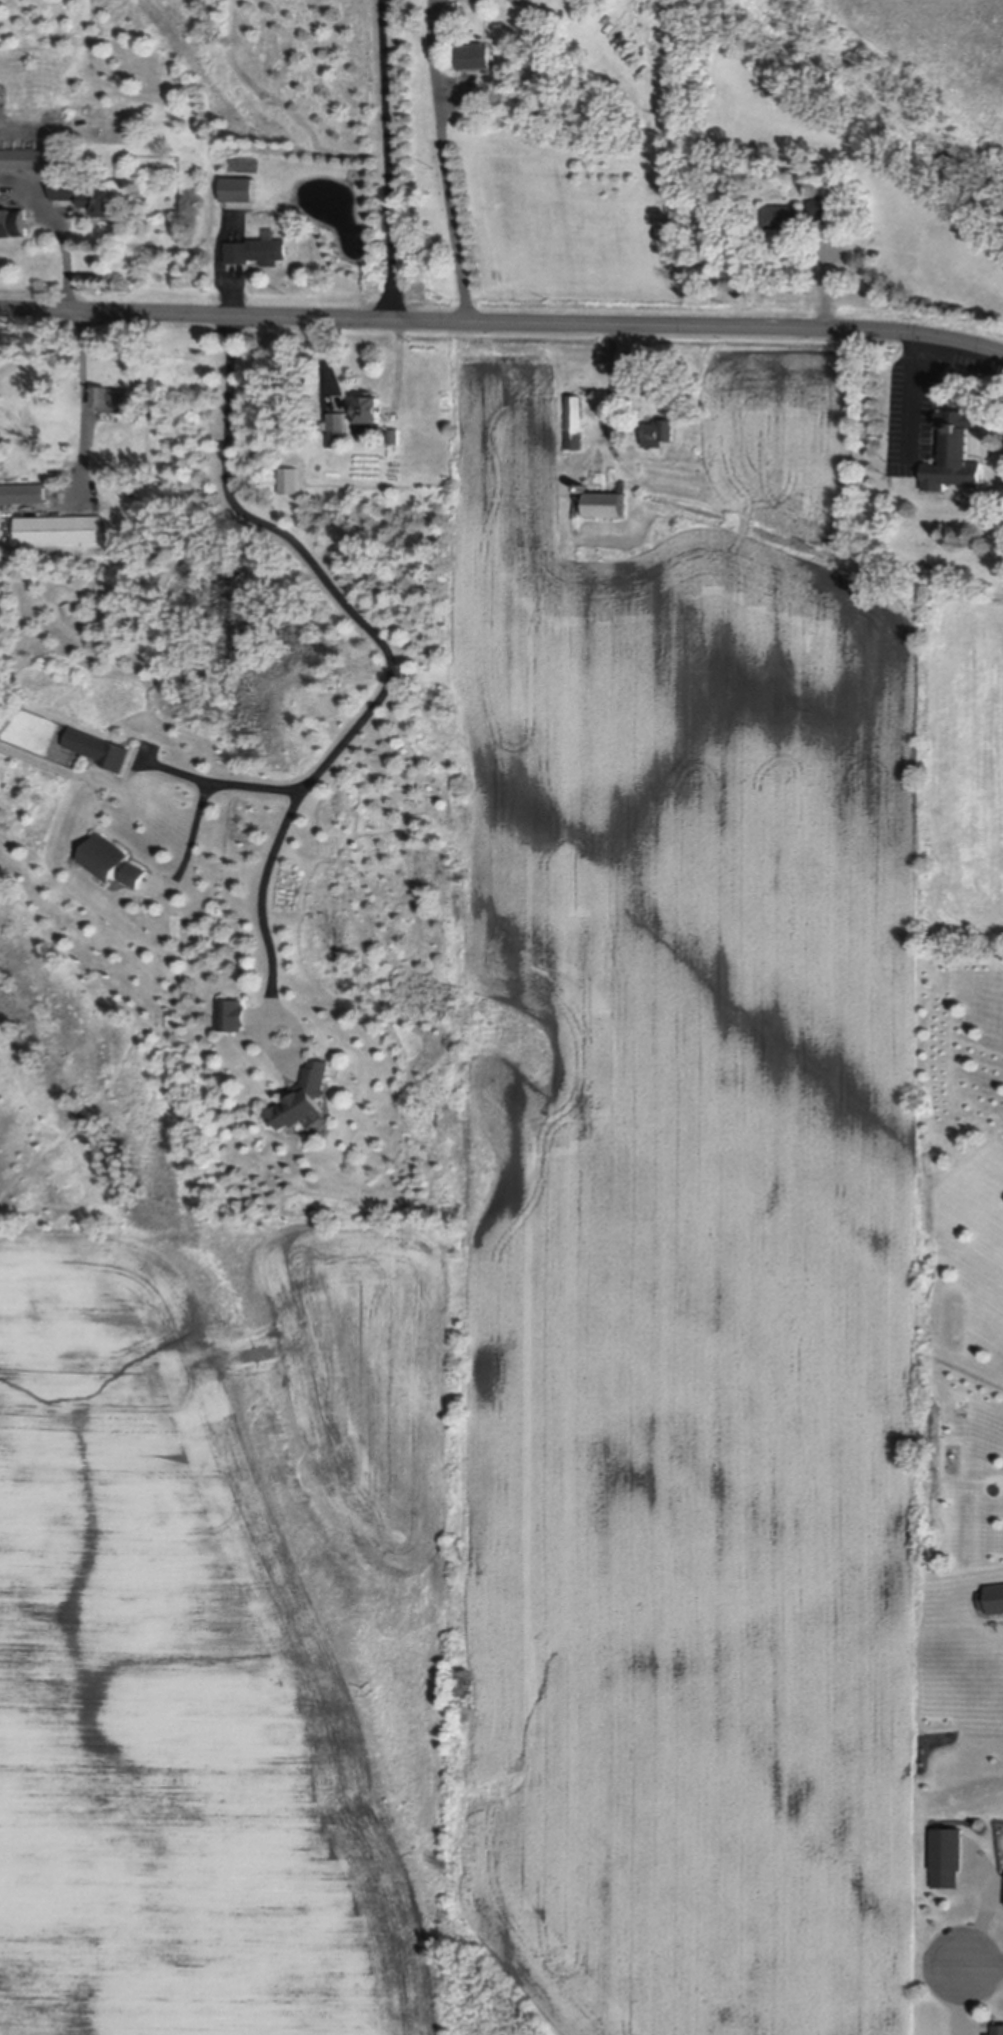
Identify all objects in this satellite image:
building: (476, 55)
building: (21, 159)
road: (389, 159)
road: (447, 160)
building: (90, 162)
building: (237, 189)
building: (85, 194)
building: (823, 205)
building: (782, 216)
building: (12, 222)
building: (258, 250)
road: (502, 321)
road: (912, 392)
building: (112, 399)
building: (368, 412)
road: (85, 414)
building: (575, 422)
building: (337, 430)
building: (661, 432)
building: (394, 436)
building: (955, 454)
building: (622, 487)
building: (583, 488)
building: (22, 494)
building: (607, 505)
building: (58, 530)
road: (390, 660)
building: (100, 750)
road: (205, 794)
building: (114, 862)
building: (235, 1017)
building: (305, 1099)
building: (947, 1859)
road: (984, 1968)
building: (999, 2032)

